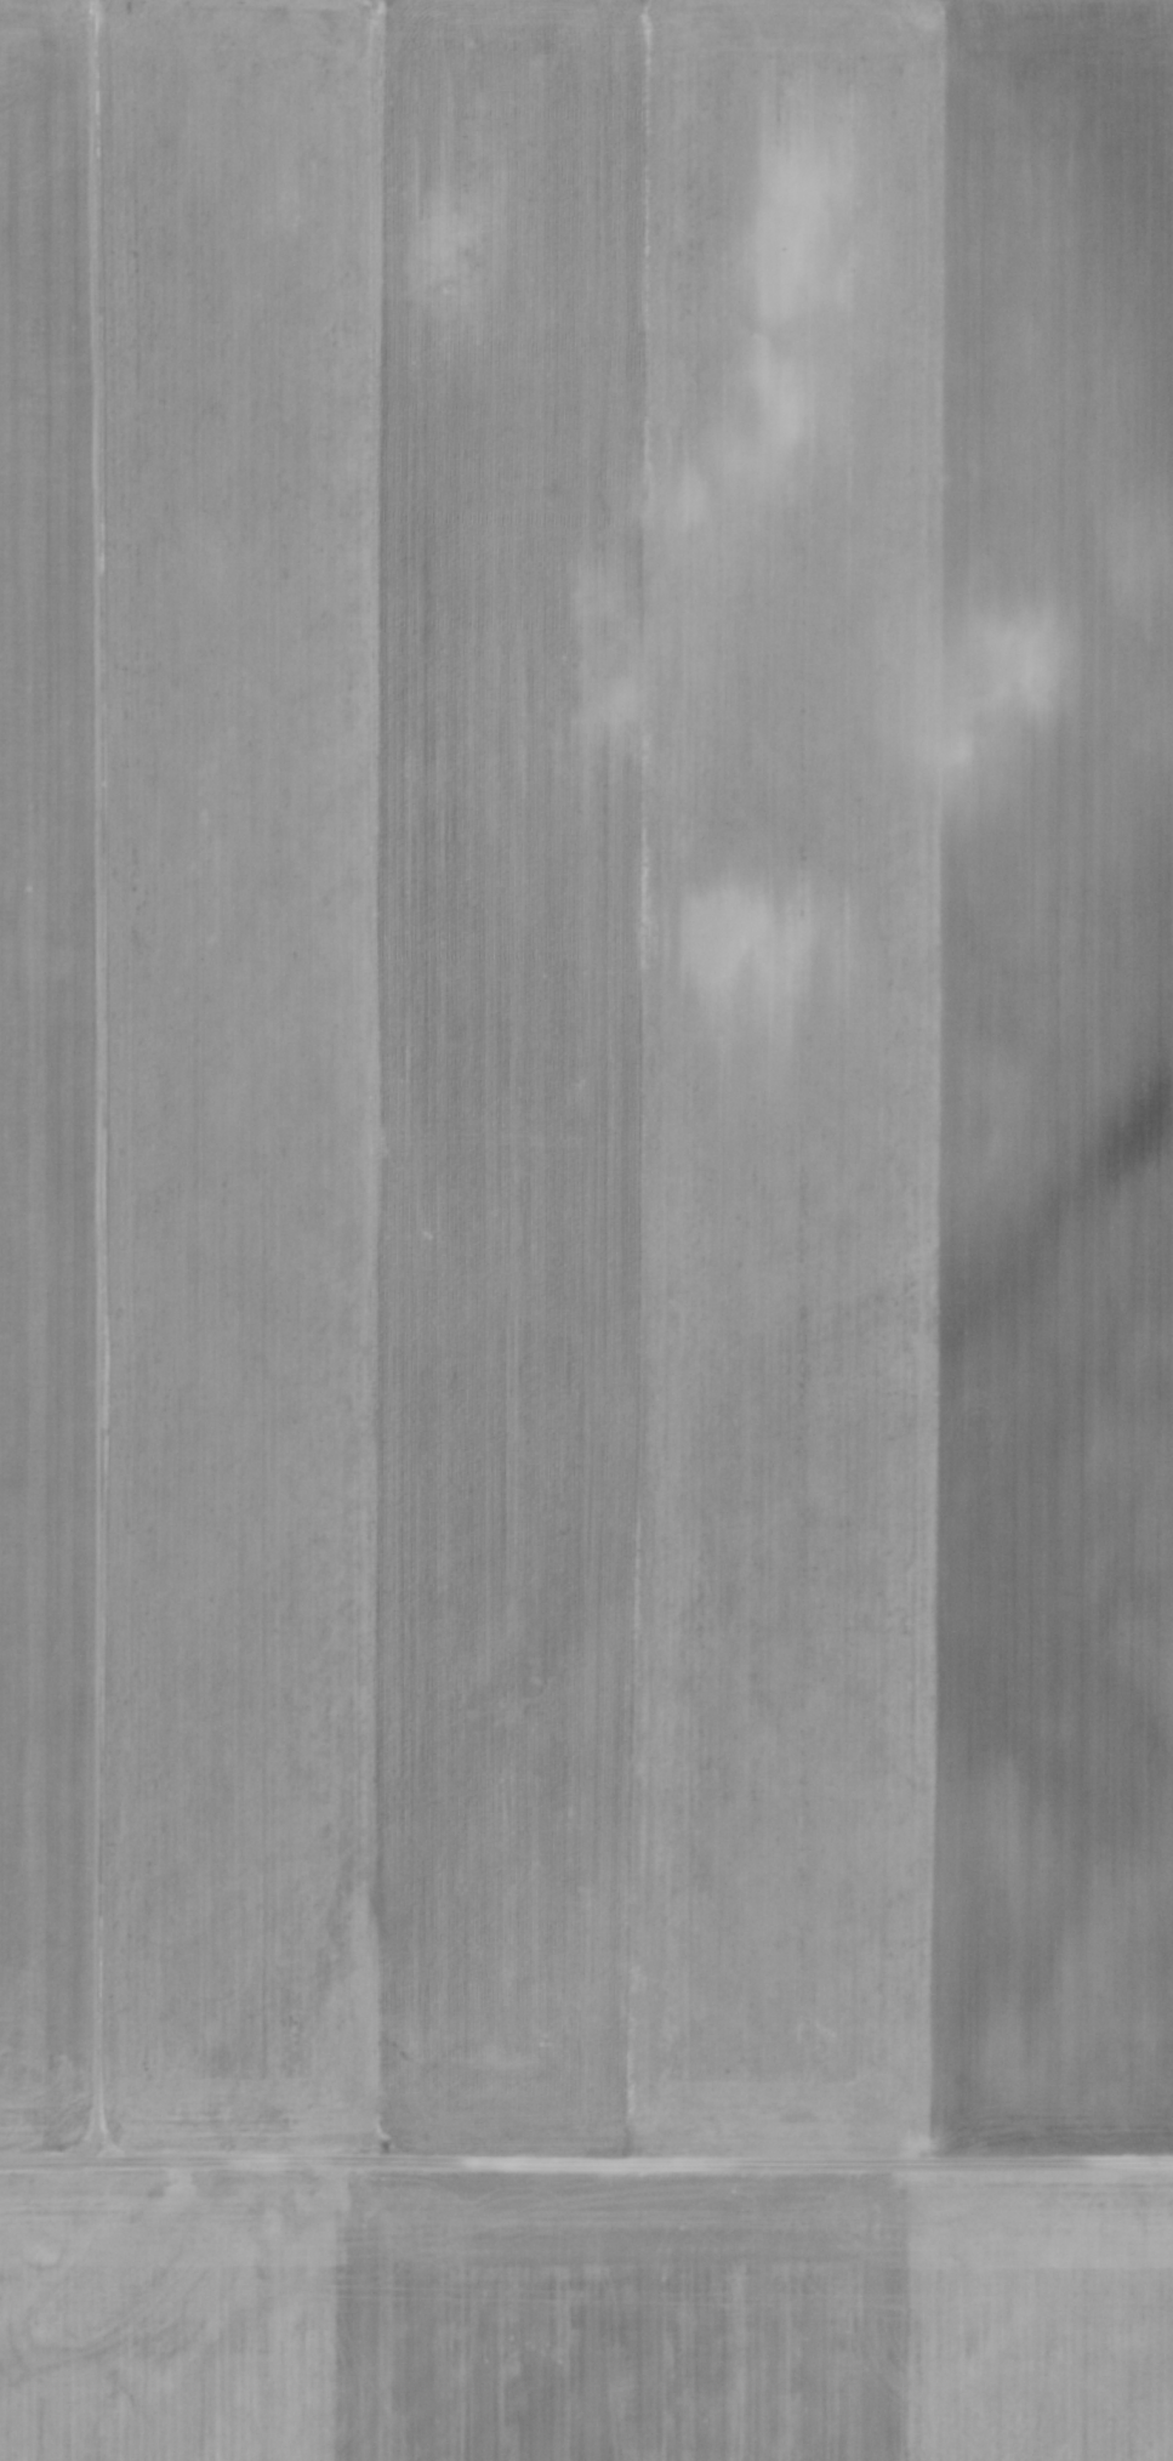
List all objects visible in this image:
road: (586, 2162)

